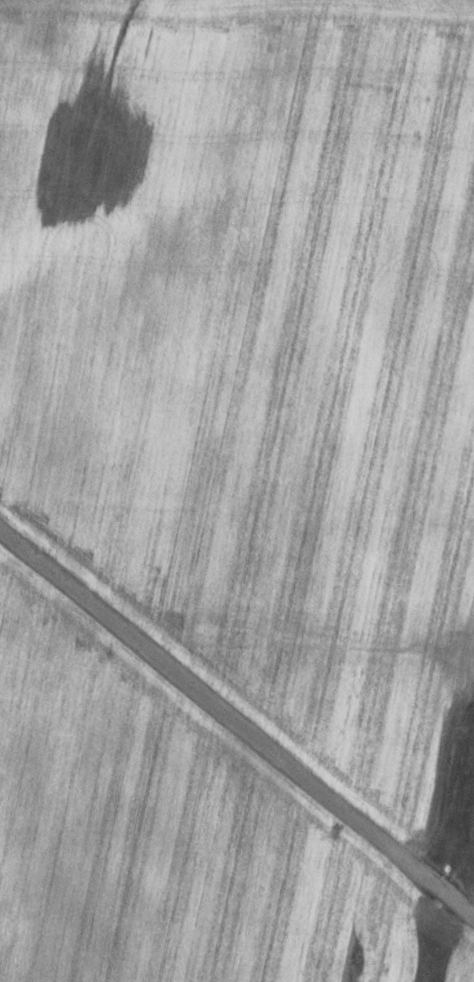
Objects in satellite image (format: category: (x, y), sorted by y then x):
crop: (237, 491)

